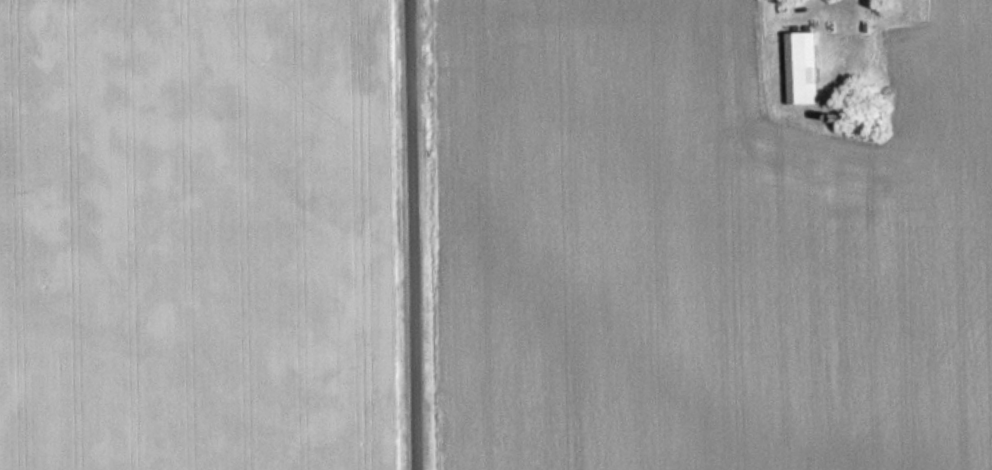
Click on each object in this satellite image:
building: (800, 69)
road: (417, 235)

